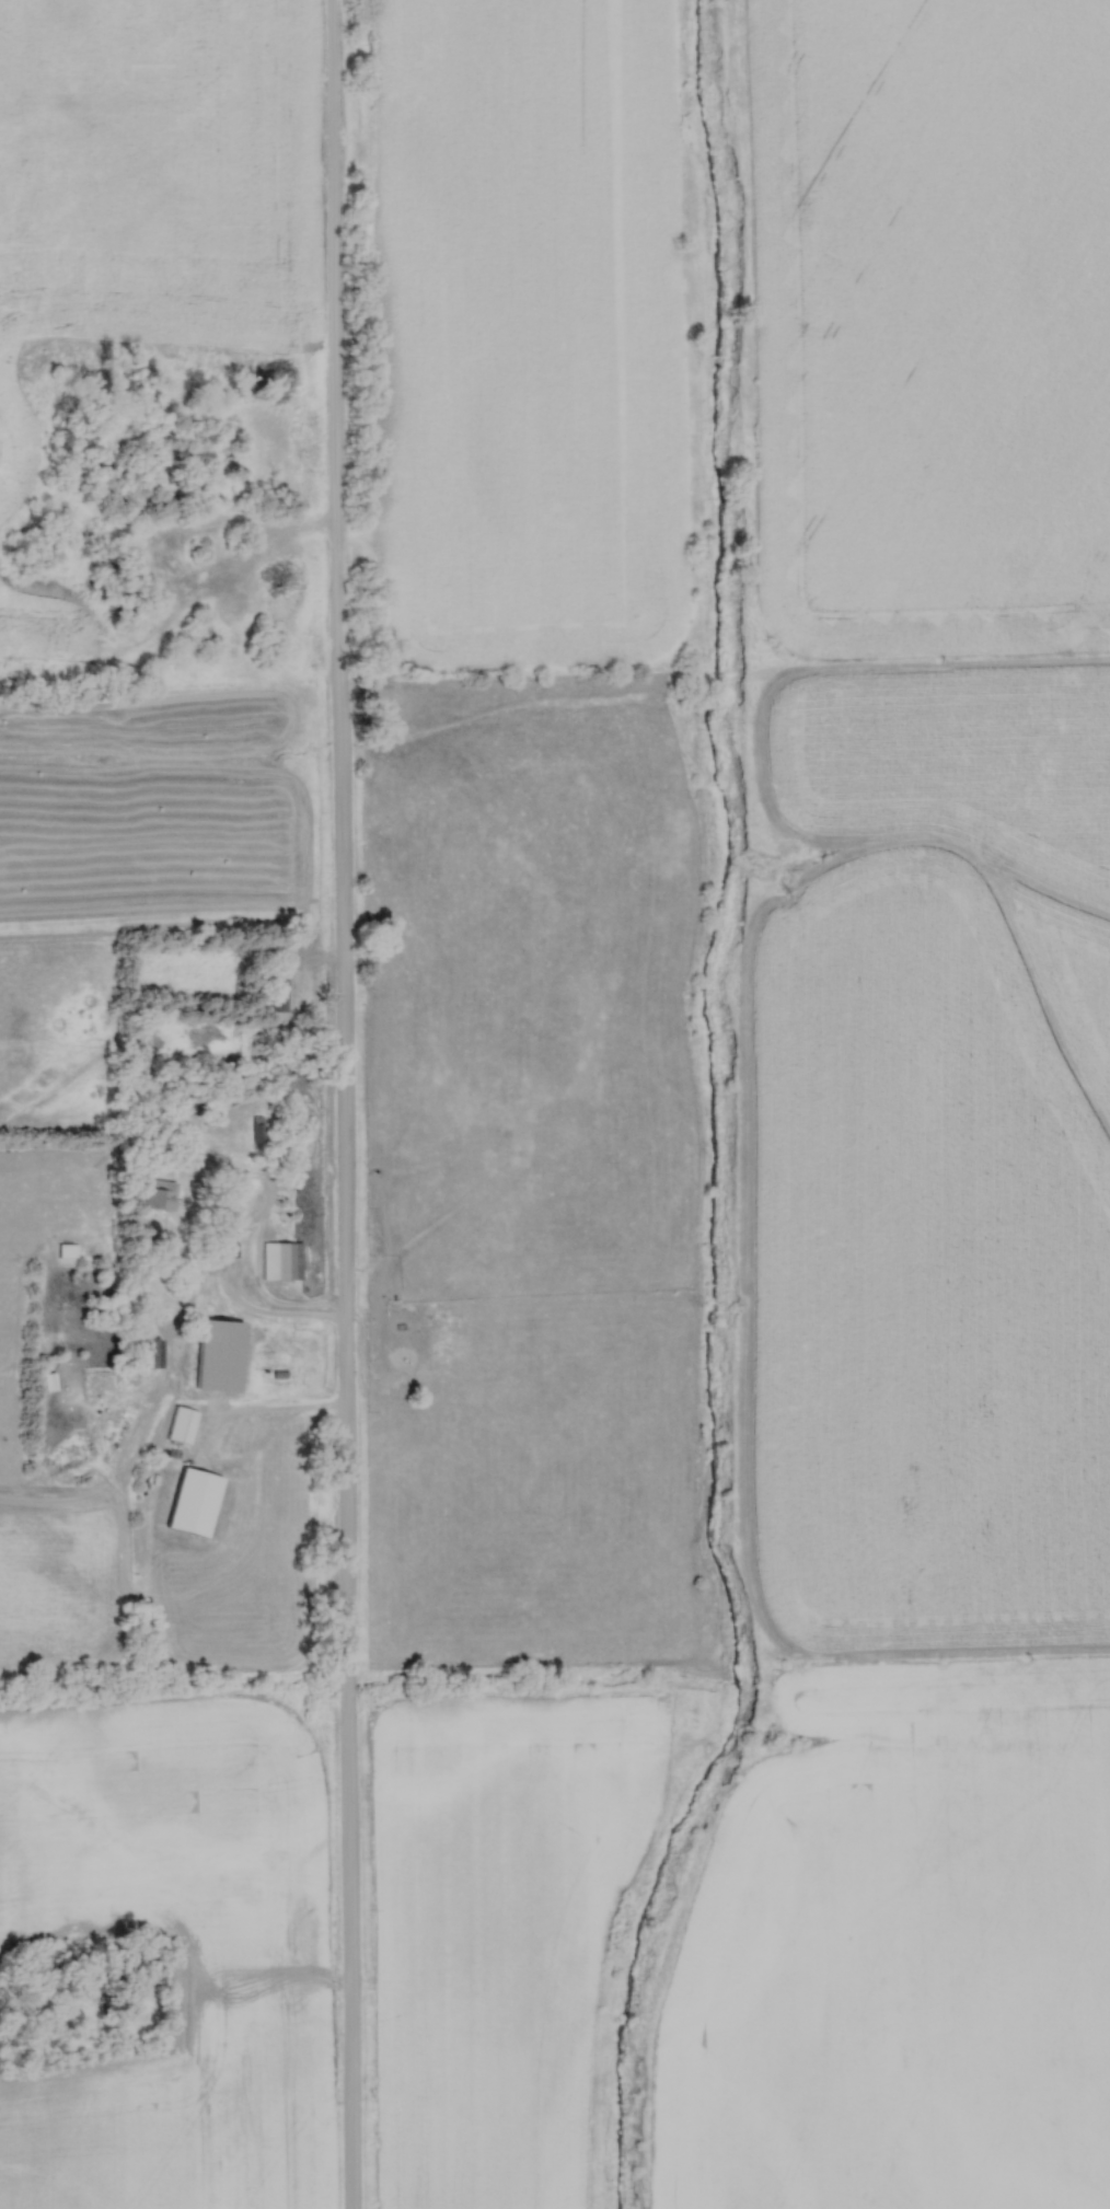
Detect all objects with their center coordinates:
building: (196, 463)
building: (277, 991)
road: (343, 1103)
river: (714, 1114)
building: (256, 1127)
building: (159, 1193)
building: (66, 1249)
building: (281, 1259)
road: (243, 1312)
building: (149, 1351)
building: (182, 1424)
building: (193, 1501)

